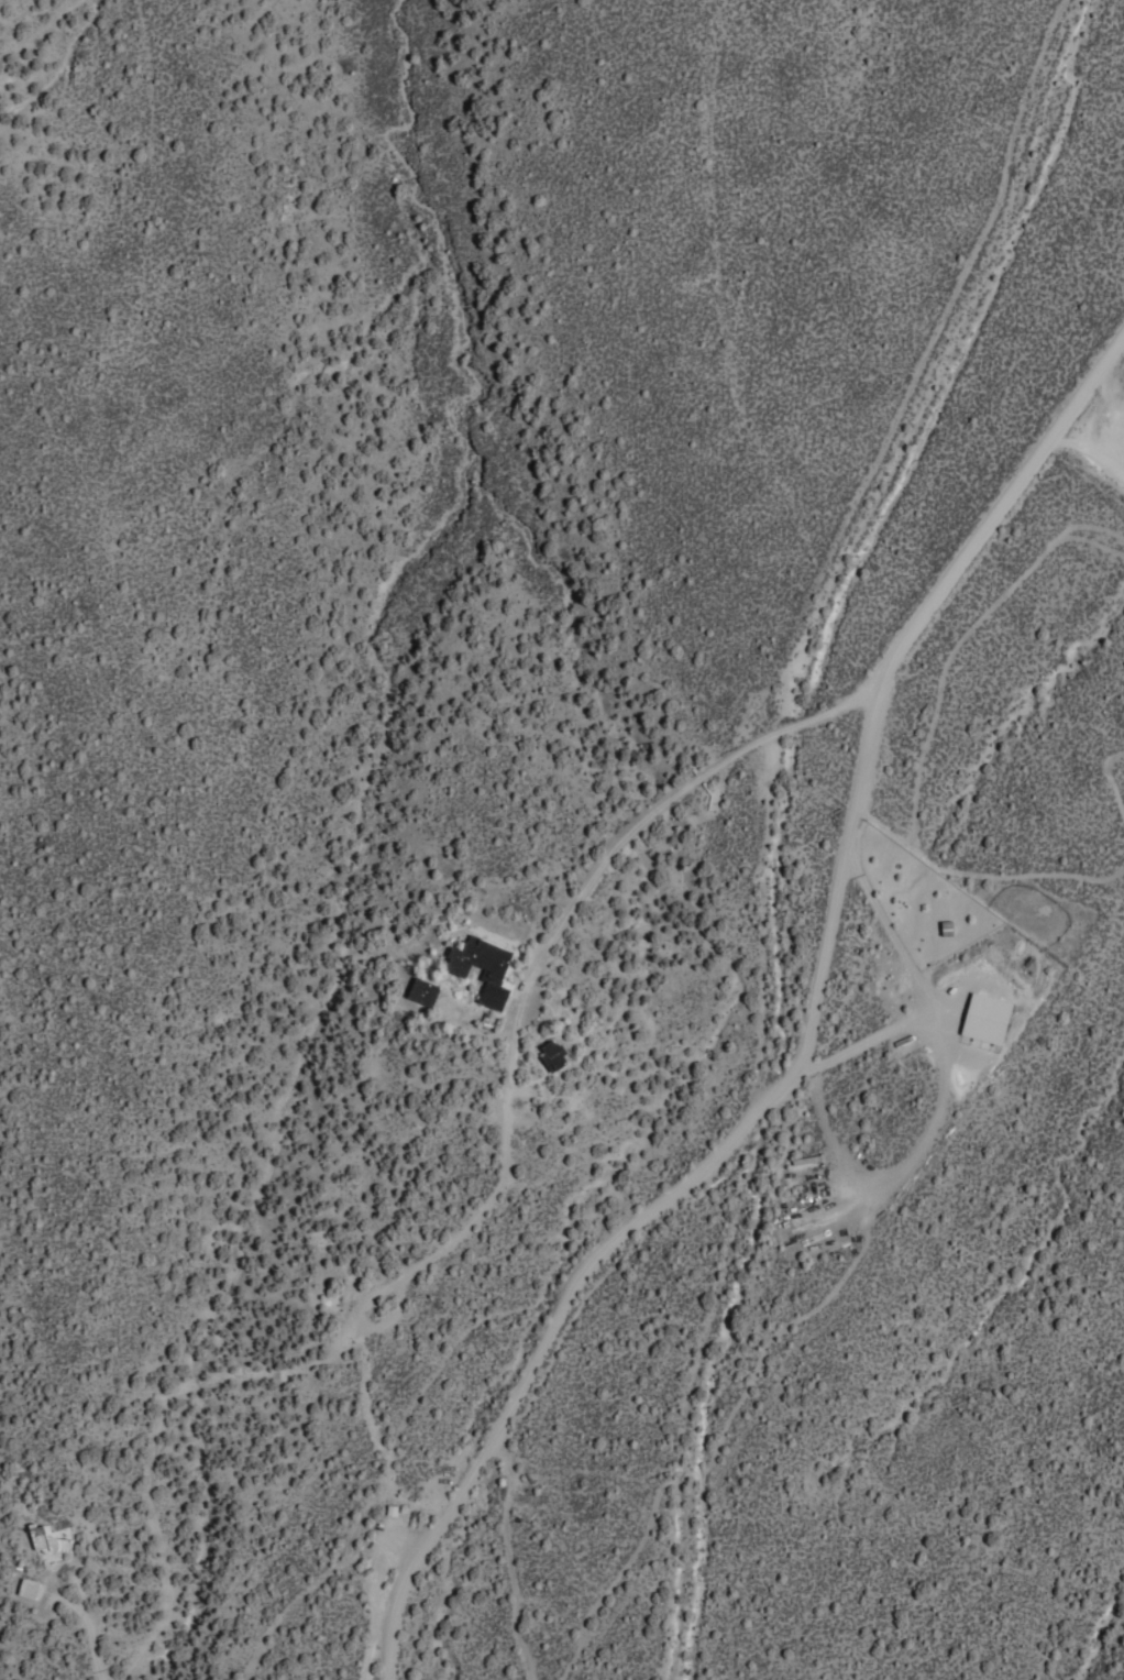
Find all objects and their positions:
building: (422, 989)
building: (990, 1025)
road: (807, 1041)
building: (27, 1586)
road: (93, 1633)

